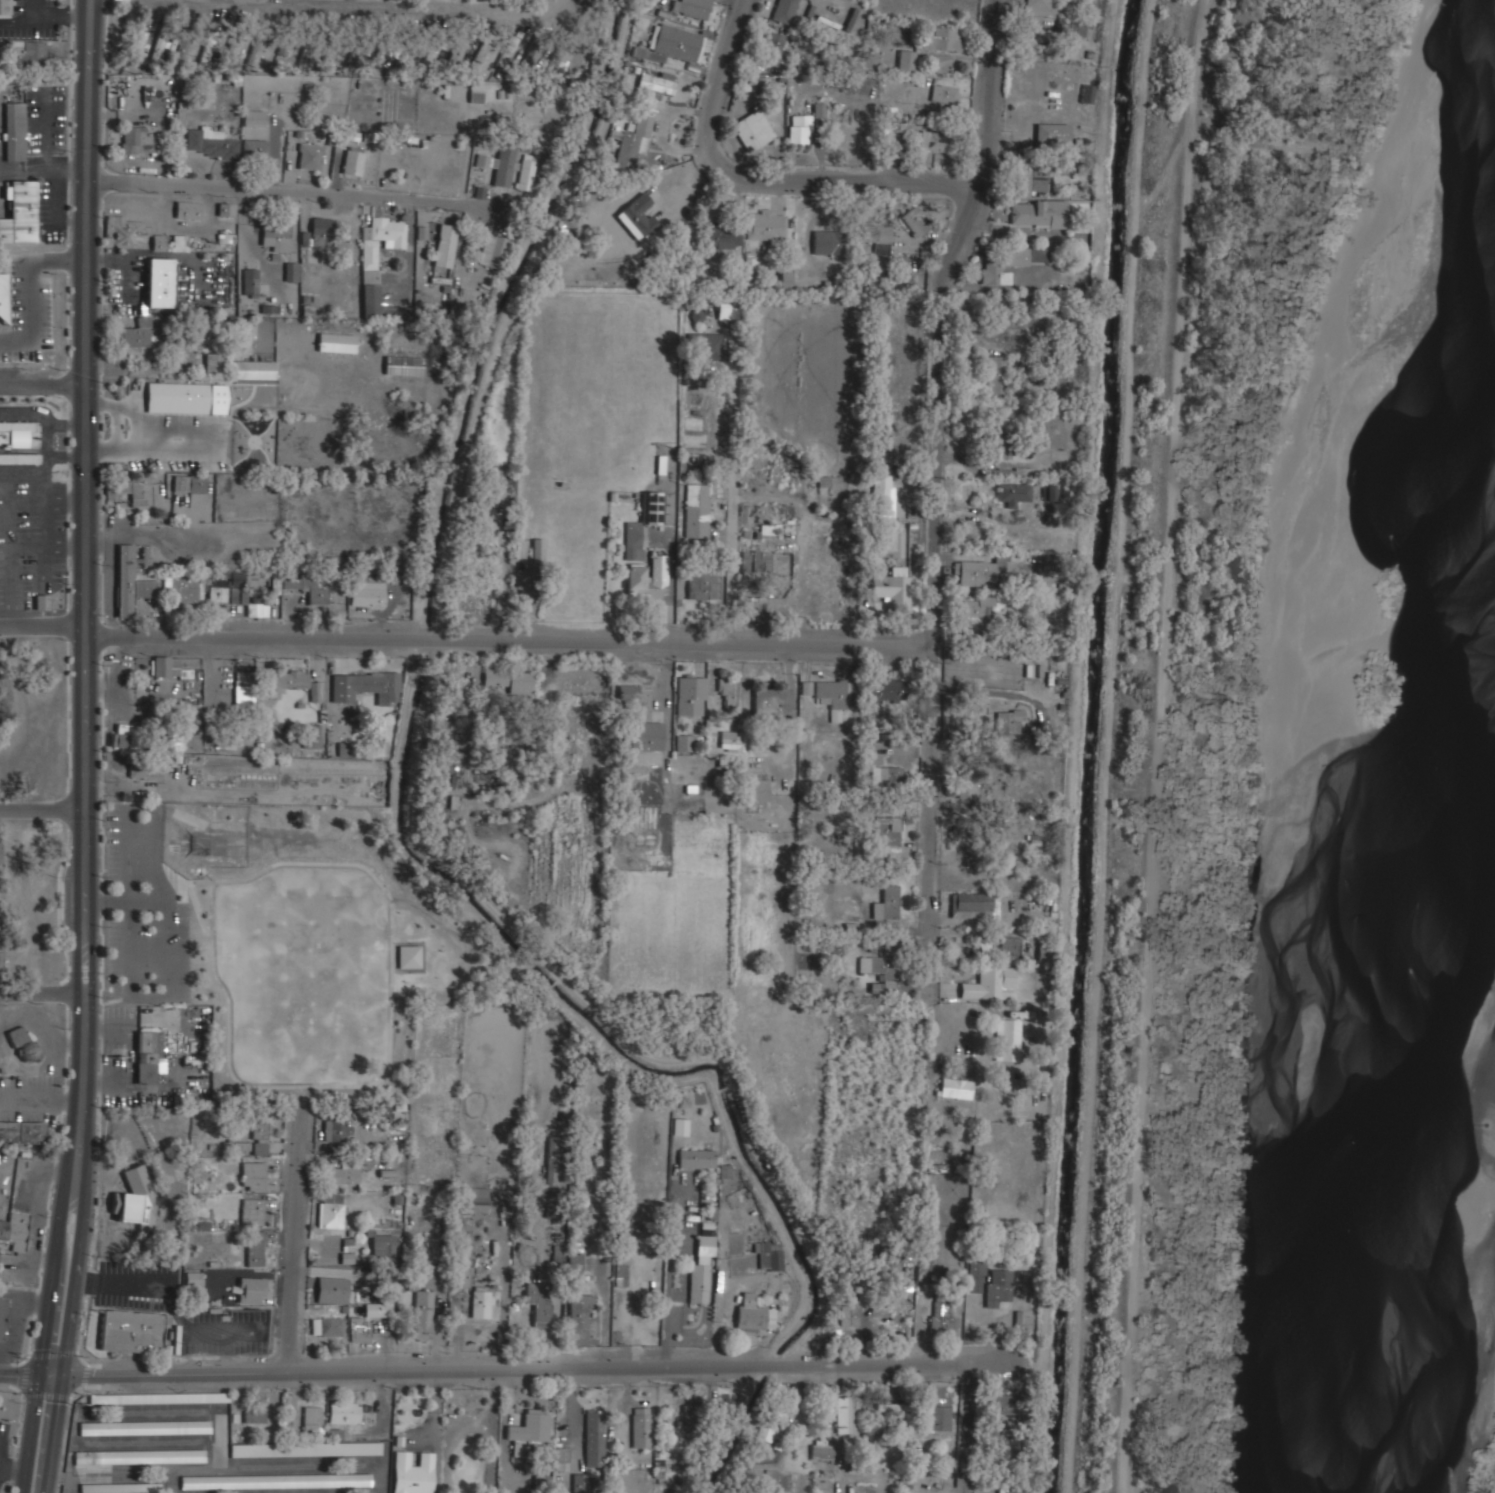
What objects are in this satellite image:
building: (587, 2)
road: (399, 6)
building: (1037, 6)
building: (4, 7)
building: (692, 7)
building: (784, 11)
building: (1070, 28)
building: (137, 36)
building: (943, 39)
building: (678, 43)
building: (284, 44)
building: (257, 46)
building: (361, 46)
building: (487, 46)
building: (159, 47)
building: (182, 48)
building: (208, 49)
building: (233, 49)
building: (386, 49)
building: (434, 49)
building: (773, 49)
building: (458, 50)
building: (508, 50)
building: (331, 51)
building: (27, 54)
building: (306, 54)
building: (648, 54)
building: (530, 56)
building: (907, 62)
road: (718, 77)
building: (657, 82)
building: (754, 84)
building: (1087, 93)
building: (474, 94)
building: (945, 94)
building: (254, 118)
building: (799, 129)
building: (754, 130)
building: (14, 131)
building: (1052, 133)
building: (138, 141)
building: (933, 142)
building: (210, 143)
building: (633, 145)
building: (255, 148)
building: (309, 156)
building: (353, 162)
building: (503, 169)
building: (526, 174)
building: (1028, 181)
road: (841, 182)
road: (298, 191)
building: (188, 209)
building: (226, 209)
building: (20, 213)
building: (1039, 213)
building: (638, 217)
building: (915, 221)
building: (766, 225)
building: (321, 226)
building: (131, 232)
building: (877, 236)
building: (275, 238)
building: (719, 238)
building: (828, 242)
building: (180, 243)
building: (445, 245)
building: (493, 251)
building: (1029, 256)
building: (377, 258)
building: (291, 271)
building: (994, 273)
building: (785, 280)
building: (160, 283)
building: (250, 283)
building: (3, 298)
building: (726, 308)
building: (135, 334)
building: (336, 342)
building: (705, 346)
building: (215, 363)
building: (403, 365)
building: (254, 370)
building: (996, 377)
road: (45, 385)
building: (178, 397)
building: (15, 433)
building: (1001, 445)
building: (19, 459)
building: (189, 485)
road: (940, 486)
building: (131, 489)
building: (1049, 492)
building: (1013, 493)
building: (882, 496)
building: (654, 508)
building: (697, 510)
building: (769, 529)
building: (632, 538)
building: (538, 550)
building: (639, 554)
building: (756, 560)
building: (981, 572)
building: (254, 578)
building: (647, 578)
building: (130, 582)
building: (703, 585)
building: (892, 586)
building: (183, 588)
building: (306, 588)
building: (218, 591)
building: (367, 594)
building: (238, 596)
building: (41, 602)
building: (978, 606)
building: (253, 609)
road: (527, 640)
building: (165, 666)
building: (494, 677)
building: (284, 681)
building: (520, 683)
building: (364, 685)
road: (78, 687)
road: (91, 688)
building: (885, 690)
building: (728, 691)
building: (454, 692)
building: (692, 694)
building: (244, 697)
building: (831, 698)
building: (629, 699)
building: (771, 702)
building: (1011, 720)
road: (1213, 722)
building: (126, 736)
building: (647, 736)
building: (732, 741)
building: (685, 743)
building: (451, 749)
building: (145, 768)
building: (894, 776)
building: (969, 787)
building: (757, 793)
building: (1005, 807)
building: (646, 808)
road: (46, 809)
building: (888, 831)
river: (1411, 855)
building: (0, 856)
building: (888, 903)
building: (975, 905)
parking lot: (144, 910)
road: (198, 911)
building: (0, 919)
road: (437, 922)
building: (1011, 949)
building: (1045, 952)
building: (409, 956)
park: (317, 972)
building: (880, 972)
building: (989, 983)
road: (46, 993)
building: (1008, 1040)
building: (22, 1042)
building: (147, 1054)
road: (385, 1070)
building: (957, 1088)
road: (37, 1097)
building: (381, 1110)
building: (680, 1127)
building: (260, 1129)
building: (335, 1130)
building: (23, 1132)
building: (237, 1146)
building: (260, 1148)
building: (697, 1158)
building: (551, 1161)
building: (727, 1172)
building: (343, 1173)
building: (257, 1183)
building: (135, 1199)
building: (476, 1199)
building: (330, 1211)
building: (254, 1212)
building: (13, 1234)
building: (383, 1242)
road: (295, 1246)
building: (256, 1249)
building: (558, 1254)
building: (770, 1256)
building: (575, 1263)
building: (622, 1269)
building: (702, 1271)
building: (976, 1274)
building: (193, 1279)
building: (999, 1286)
building: (251, 1290)
building: (328, 1290)
building: (481, 1304)
building: (539, 1304)
building: (582, 1311)
building: (750, 1314)
building: (2, 1315)
building: (423, 1315)
building: (849, 1315)
building: (943, 1315)
building: (367, 1321)
building: (1023, 1322)
building: (326, 1327)
building: (132, 1331)
road: (541, 1368)
road: (20, 1373)
traffic signals: (40, 1373)
road: (52, 1374)
traffic signals: (64, 1375)
building: (160, 1398)
building: (1002, 1404)
building: (894, 1407)
building: (343, 1412)
building: (846, 1415)
building: (692, 1416)
building: (254, 1417)
building: (941, 1417)
building: (720, 1419)
building: (312, 1422)
building: (768, 1424)
building: (145, 1427)
building: (641, 1427)
road: (491, 1431)
road: (967, 1431)
road: (31, 1432)
building: (529, 1433)
road: (55, 1434)
building: (594, 1438)
building: (306, 1449)
building: (823, 1450)
building: (139, 1457)
building: (664, 1459)
building: (412, 1472)
building: (277, 1481)
building: (582, 1483)
building: (820, 1484)
building: (120, 1488)

